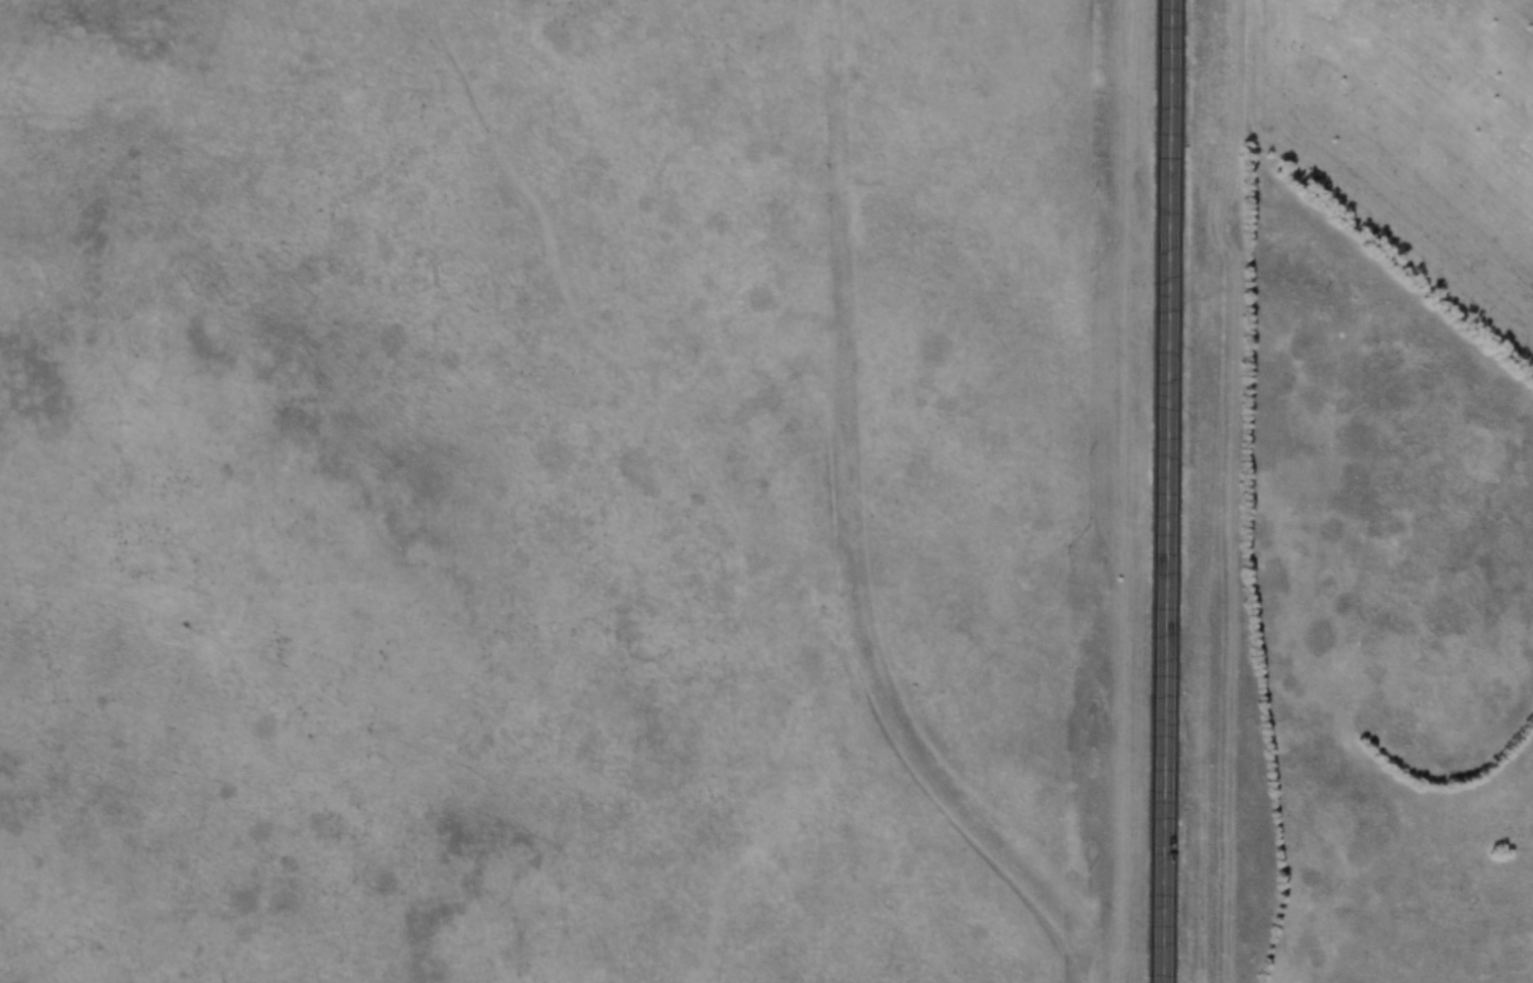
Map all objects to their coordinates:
road: (1170, 491)

